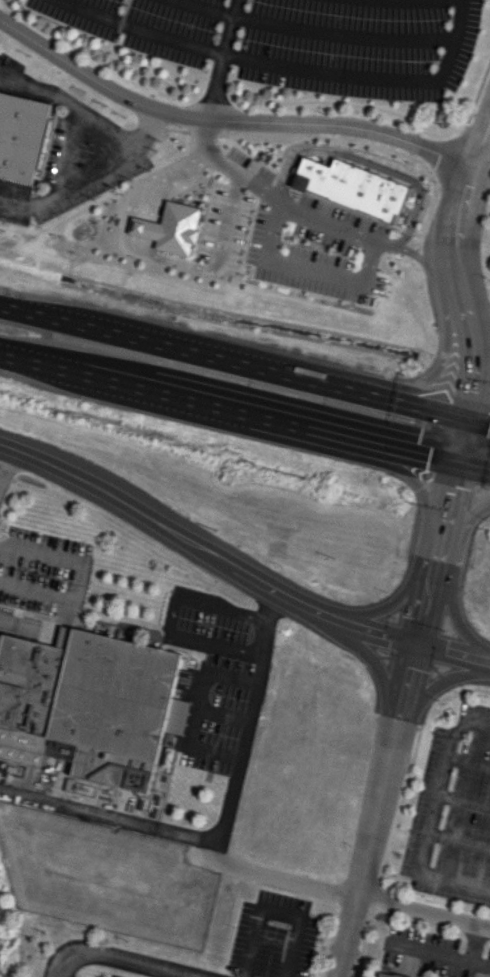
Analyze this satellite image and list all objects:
road: (144, 30)
road: (314, 31)
road: (221, 58)
road: (369, 79)
road: (69, 104)
road: (226, 120)
building: (21, 134)
road: (205, 134)
road: (68, 151)
road: (87, 173)
road: (164, 179)
building: (350, 187)
road: (226, 202)
road: (135, 226)
building: (170, 228)
road: (459, 236)
road: (165, 258)
road: (422, 261)
road: (367, 263)
road: (481, 353)
road: (472, 358)
road: (231, 362)
road: (432, 371)
road: (481, 372)
road: (467, 390)
road: (190, 409)
traffic signals: (463, 419)
road: (476, 422)
road: (458, 446)
road: (4, 455)
road: (417, 464)
traffic signals: (454, 473)
road: (472, 477)
road: (419, 488)
road: (464, 519)
road: (443, 521)
road: (168, 525)
road: (78, 575)
road: (385, 604)
road: (423, 611)
road: (454, 618)
road: (173, 619)
road: (371, 636)
traffic signals: (413, 651)
road: (451, 657)
road: (371, 663)
road: (437, 679)
building: (90, 703)
road: (196, 707)
building: (66, 751)
road: (229, 796)
road: (77, 806)
road: (373, 813)
road: (427, 819)
road: (186, 834)
road: (422, 913)
road: (443, 956)
road: (120, 961)
road: (478, 965)
building: (381, 975)

